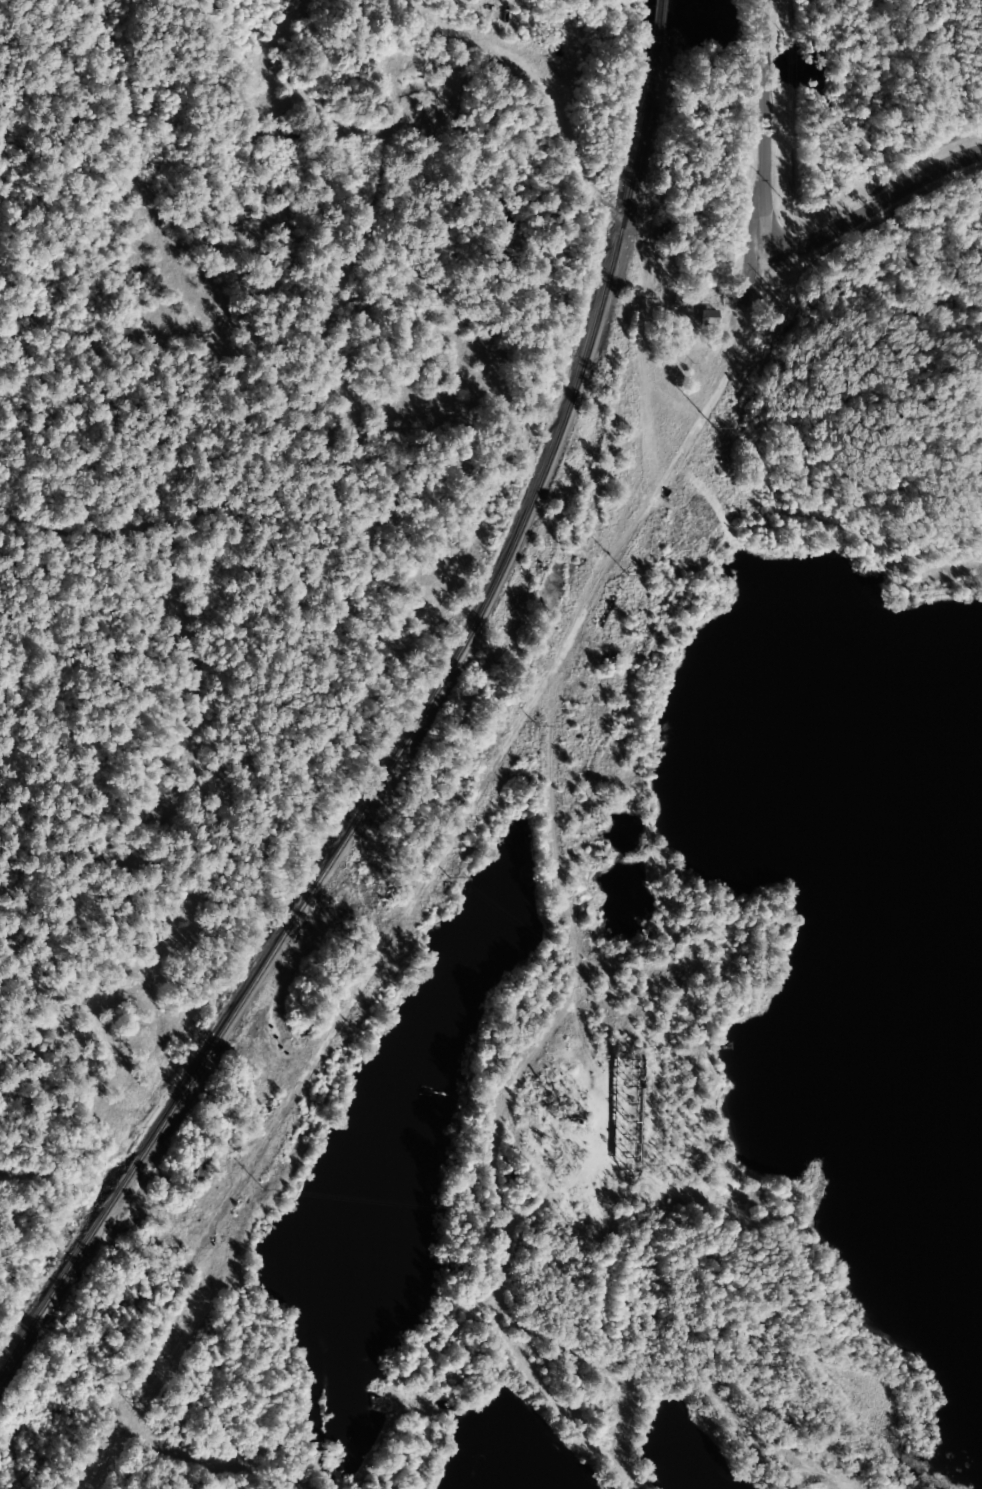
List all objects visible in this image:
railway: (650, 58)
road: (765, 128)
road: (602, 203)
road: (885, 214)
road: (315, 376)
railway: (383, 775)
road: (549, 858)
road: (386, 887)
road: (104, 1198)
road: (490, 1229)

